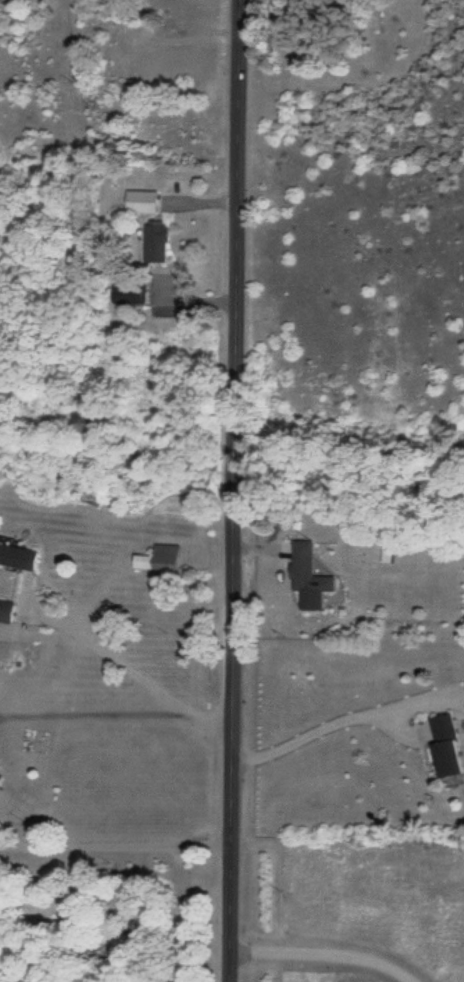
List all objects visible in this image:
building: (144, 203)
building: (158, 243)
building: (136, 295)
road: (234, 491)
building: (19, 557)
building: (162, 559)
building: (310, 579)
building: (7, 613)
building: (448, 748)
building: (2, 769)
road: (327, 954)

